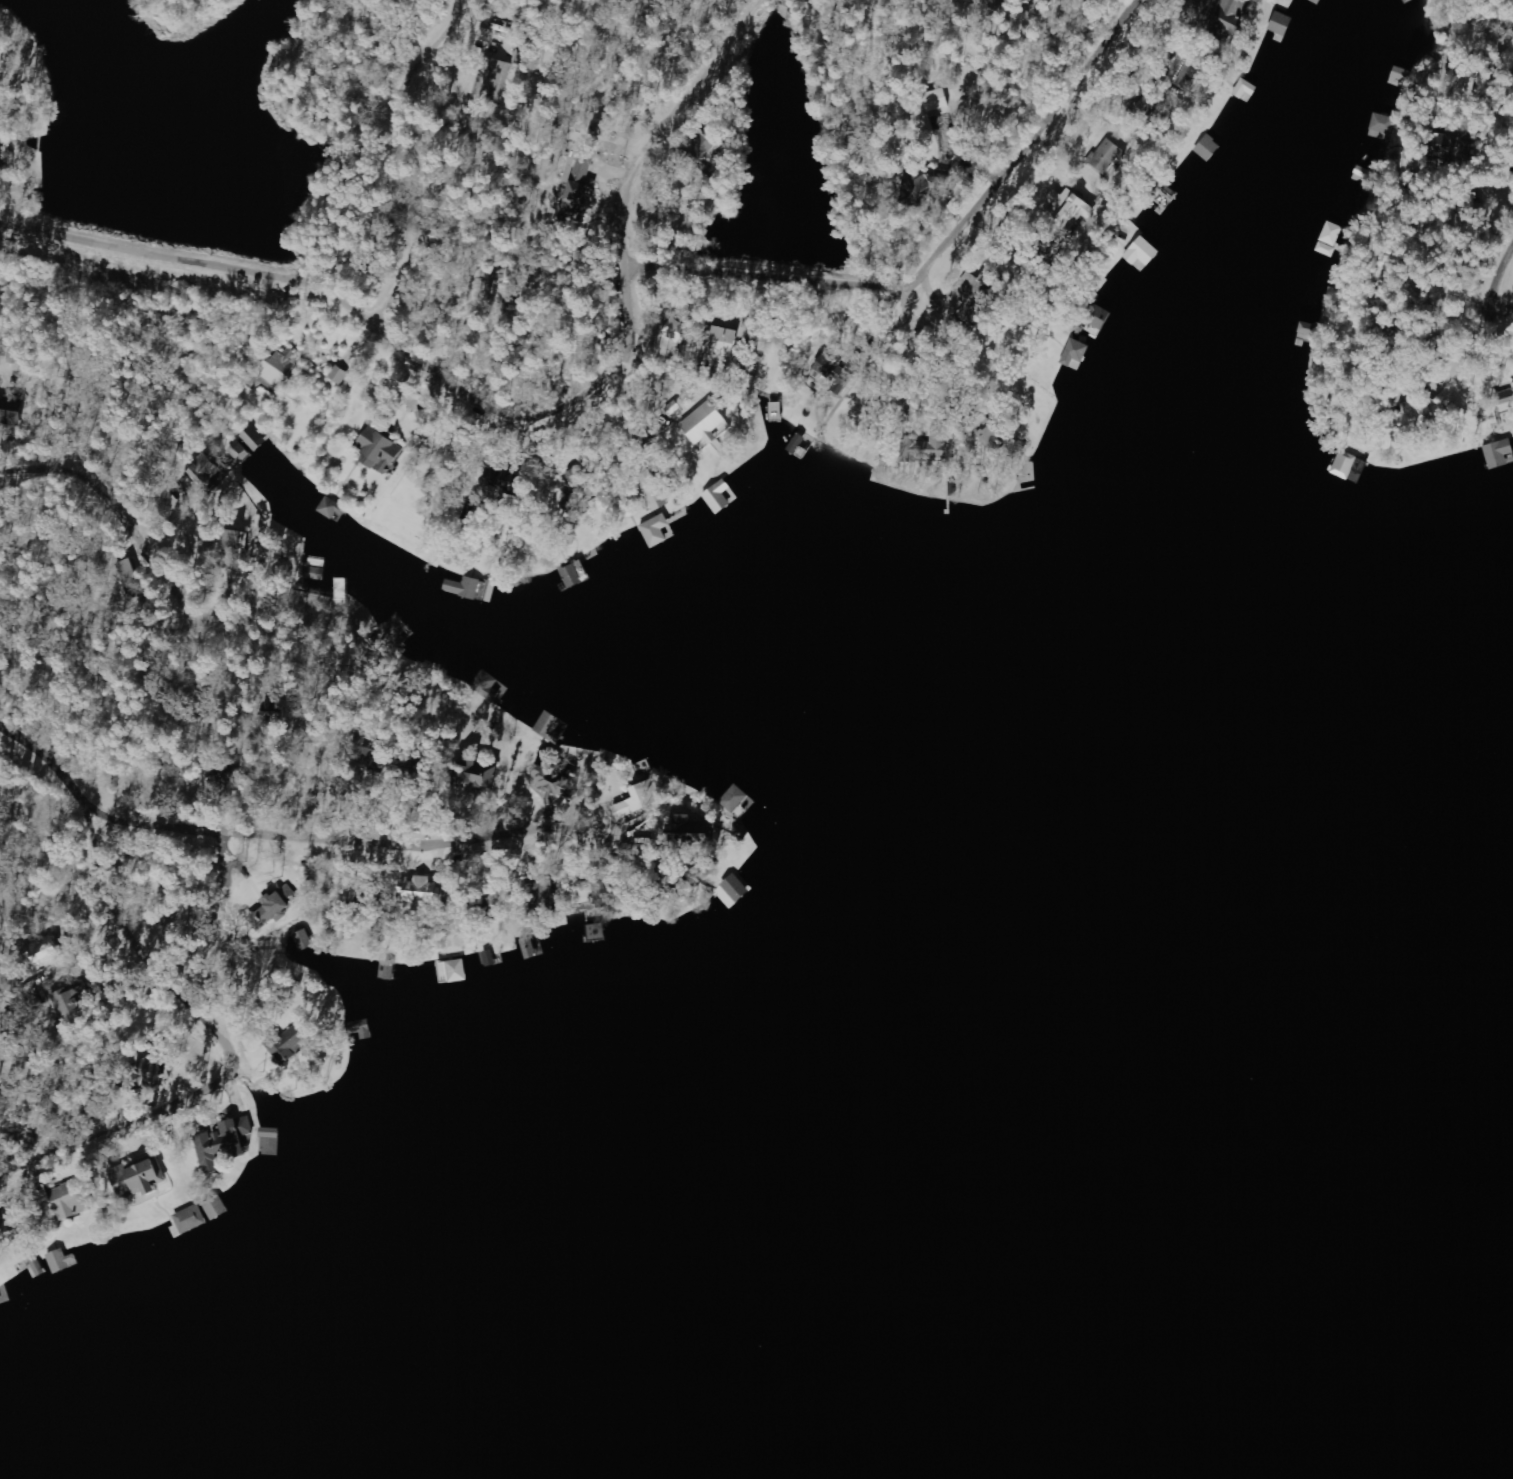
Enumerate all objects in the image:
building: (1231, 18)
building: (1282, 24)
building: (1384, 124)
building: (1455, 143)
road: (407, 156)
building: (1106, 157)
building: (0, 159)
road: (1007, 172)
building: (582, 183)
building: (1070, 209)
road: (159, 243)
building: (1142, 253)
road: (1504, 274)
building: (677, 331)
road: (640, 341)
building: (723, 342)
building: (1075, 353)
building: (279, 370)
building: (834, 373)
building: (339, 376)
building: (1505, 400)
building: (11, 413)
building: (707, 428)
building: (988, 432)
building: (929, 447)
building: (379, 451)
building: (1499, 454)
building: (204, 470)
building: (578, 480)
building: (333, 510)
building: (656, 531)
building: (237, 542)
building: (314, 569)
building: (131, 577)
building: (572, 577)
building: (470, 588)
building: (398, 630)
road: (166, 642)
building: (489, 688)
building: (550, 727)
building: (485, 773)
building: (557, 780)
road: (98, 784)
building: (735, 798)
building: (641, 799)
road: (315, 820)
building: (692, 832)
building: (736, 887)
building: (544, 889)
building: (423, 891)
road: (101, 904)
building: (275, 906)
road: (222, 939)
building: (304, 940)
building: (43, 952)
building: (458, 971)
building: (72, 1000)
building: (290, 1043)
building: (151, 1071)
road: (250, 1087)
road: (211, 1108)
road: (121, 1121)
road: (157, 1131)
building: (224, 1142)
road: (92, 1161)
road: (41, 1176)
building: (141, 1179)
road: (13, 1185)
building: (73, 1199)
building: (217, 1208)
building: (191, 1219)
building: (9, 1223)
building: (62, 1260)

